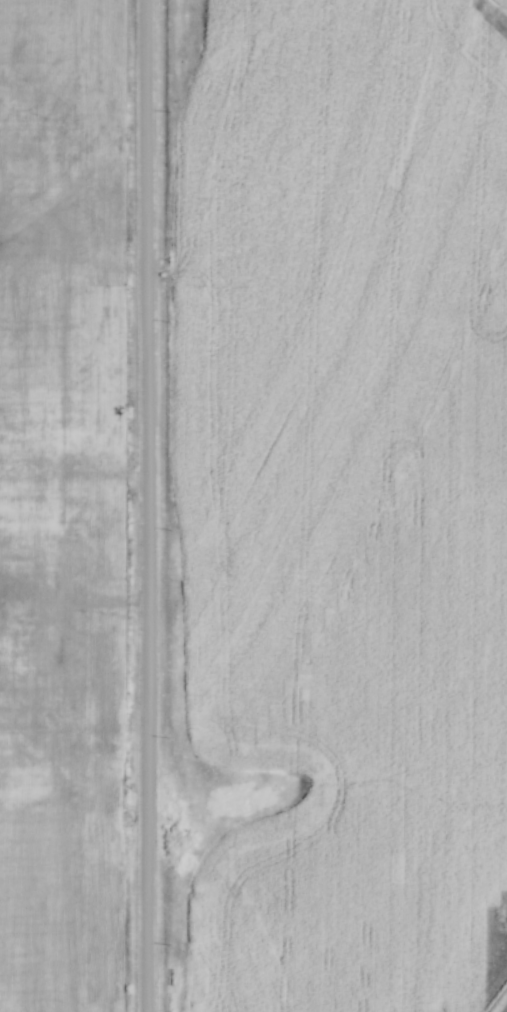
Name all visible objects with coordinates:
road: (140, 506)

